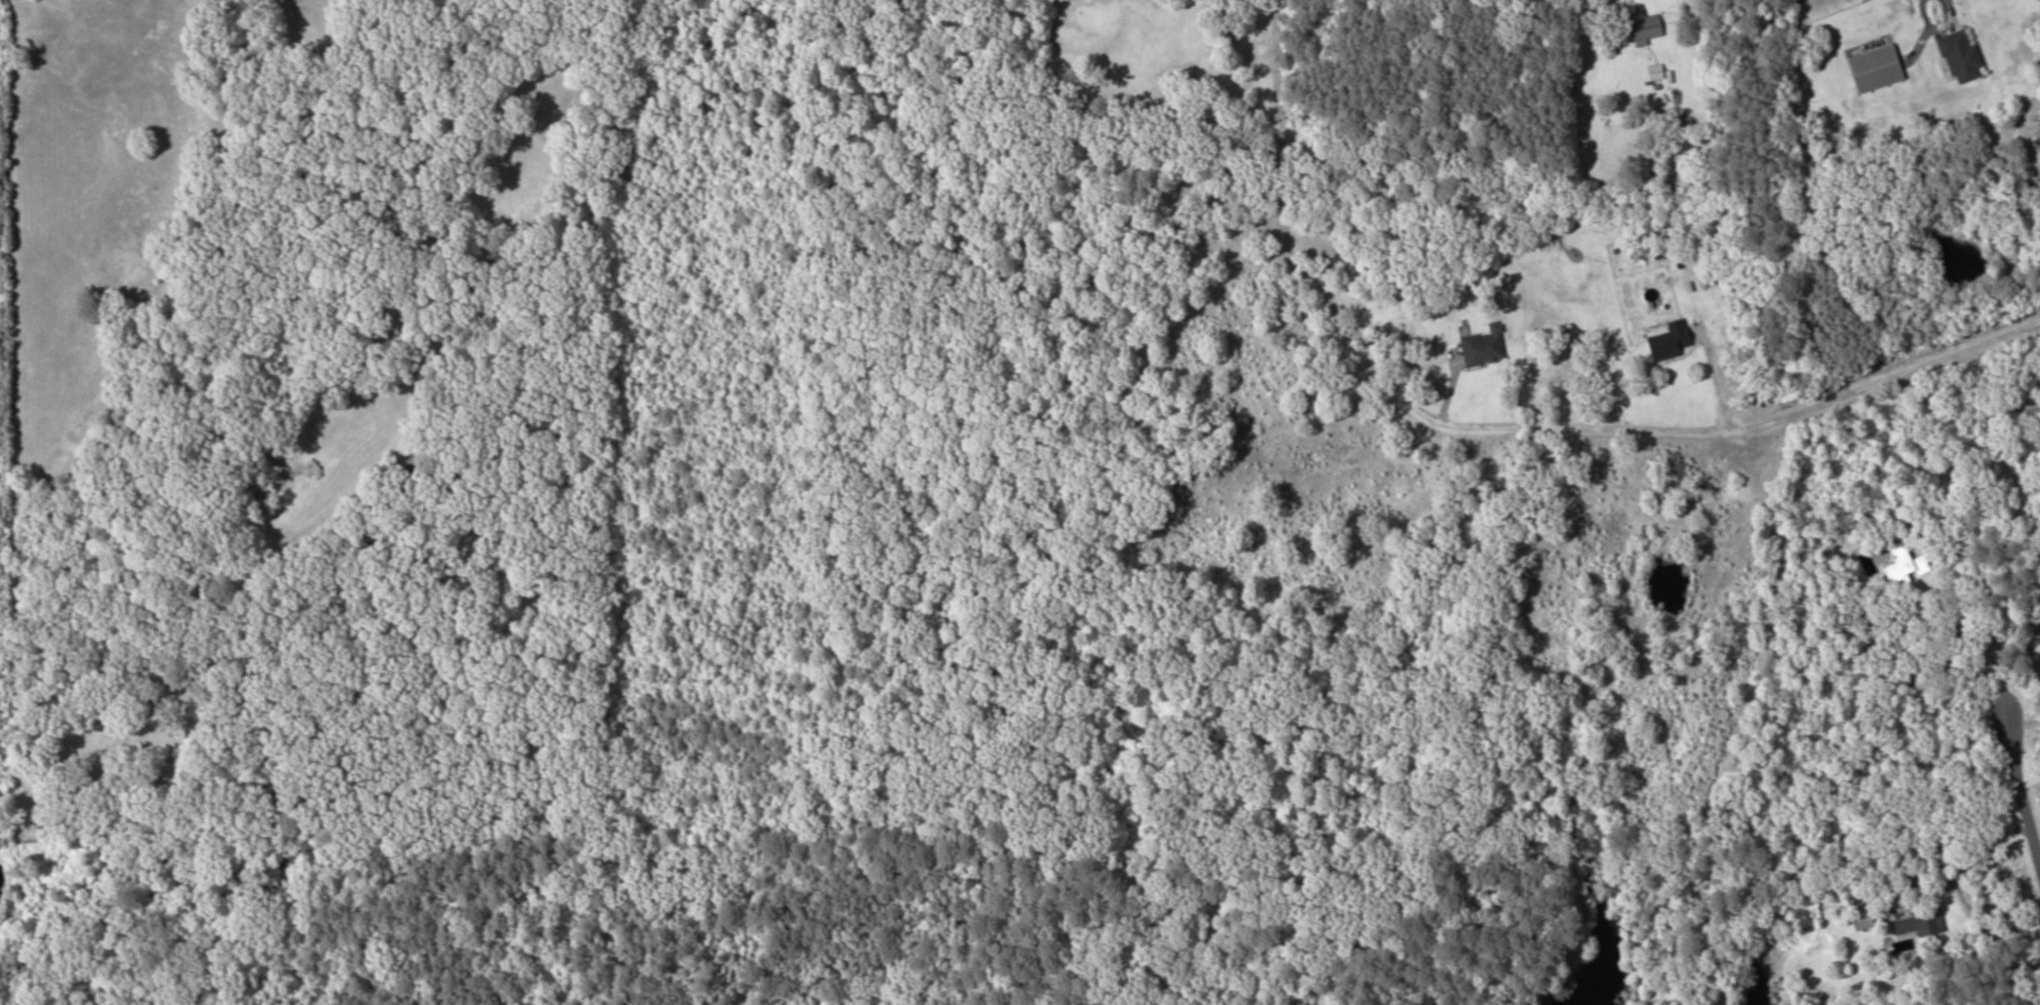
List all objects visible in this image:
building: (1641, 25)
building: (1958, 56)
building: (1872, 68)
building: (1653, 71)
building: (2038, 143)
building: (1666, 340)
building: (1481, 346)
building: (1901, 565)
road: (2024, 785)
building: (1916, 923)

